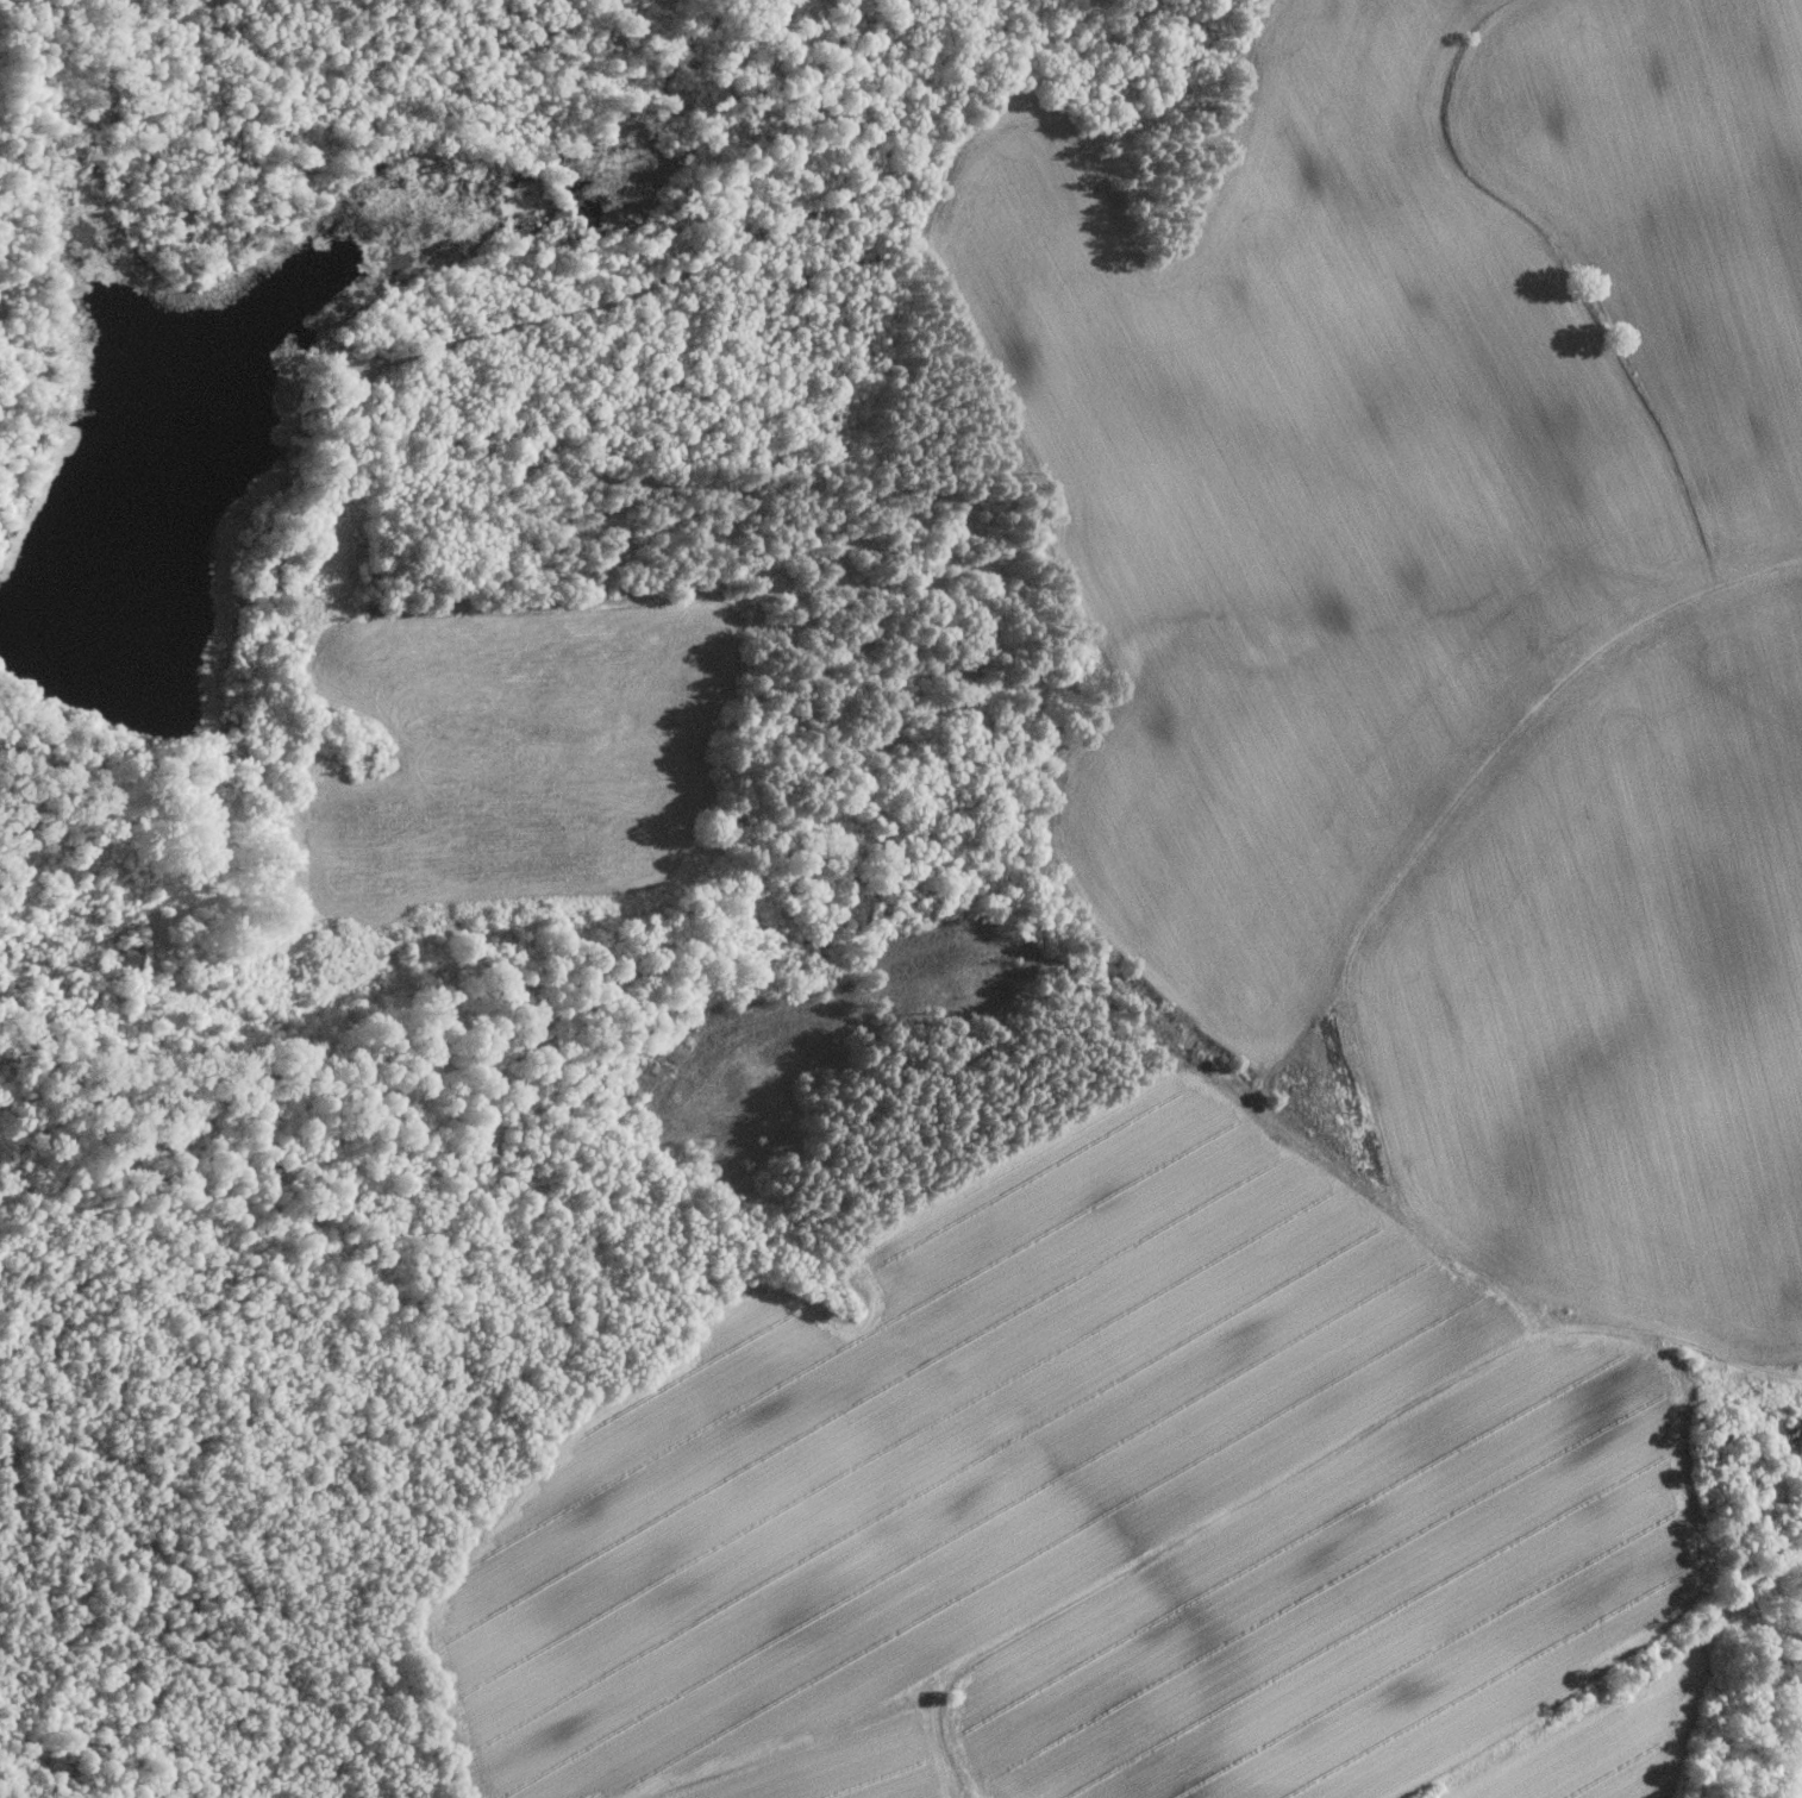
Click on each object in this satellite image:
road: (1149, 1008)

